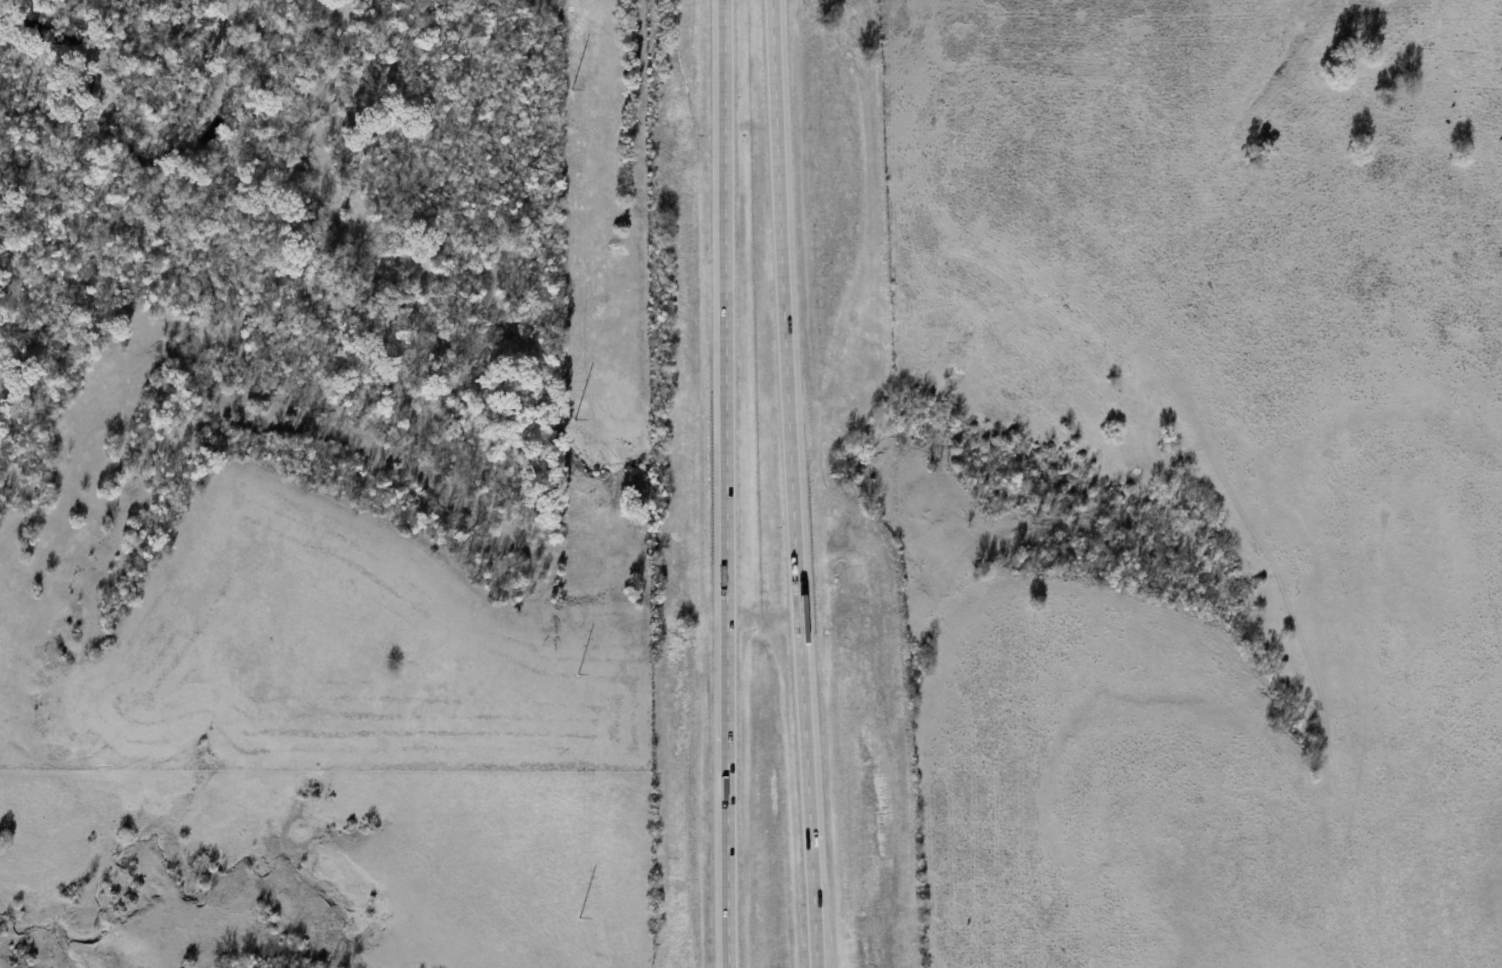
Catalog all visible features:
road: (713, 484)
road: (783, 484)
road: (752, 637)

